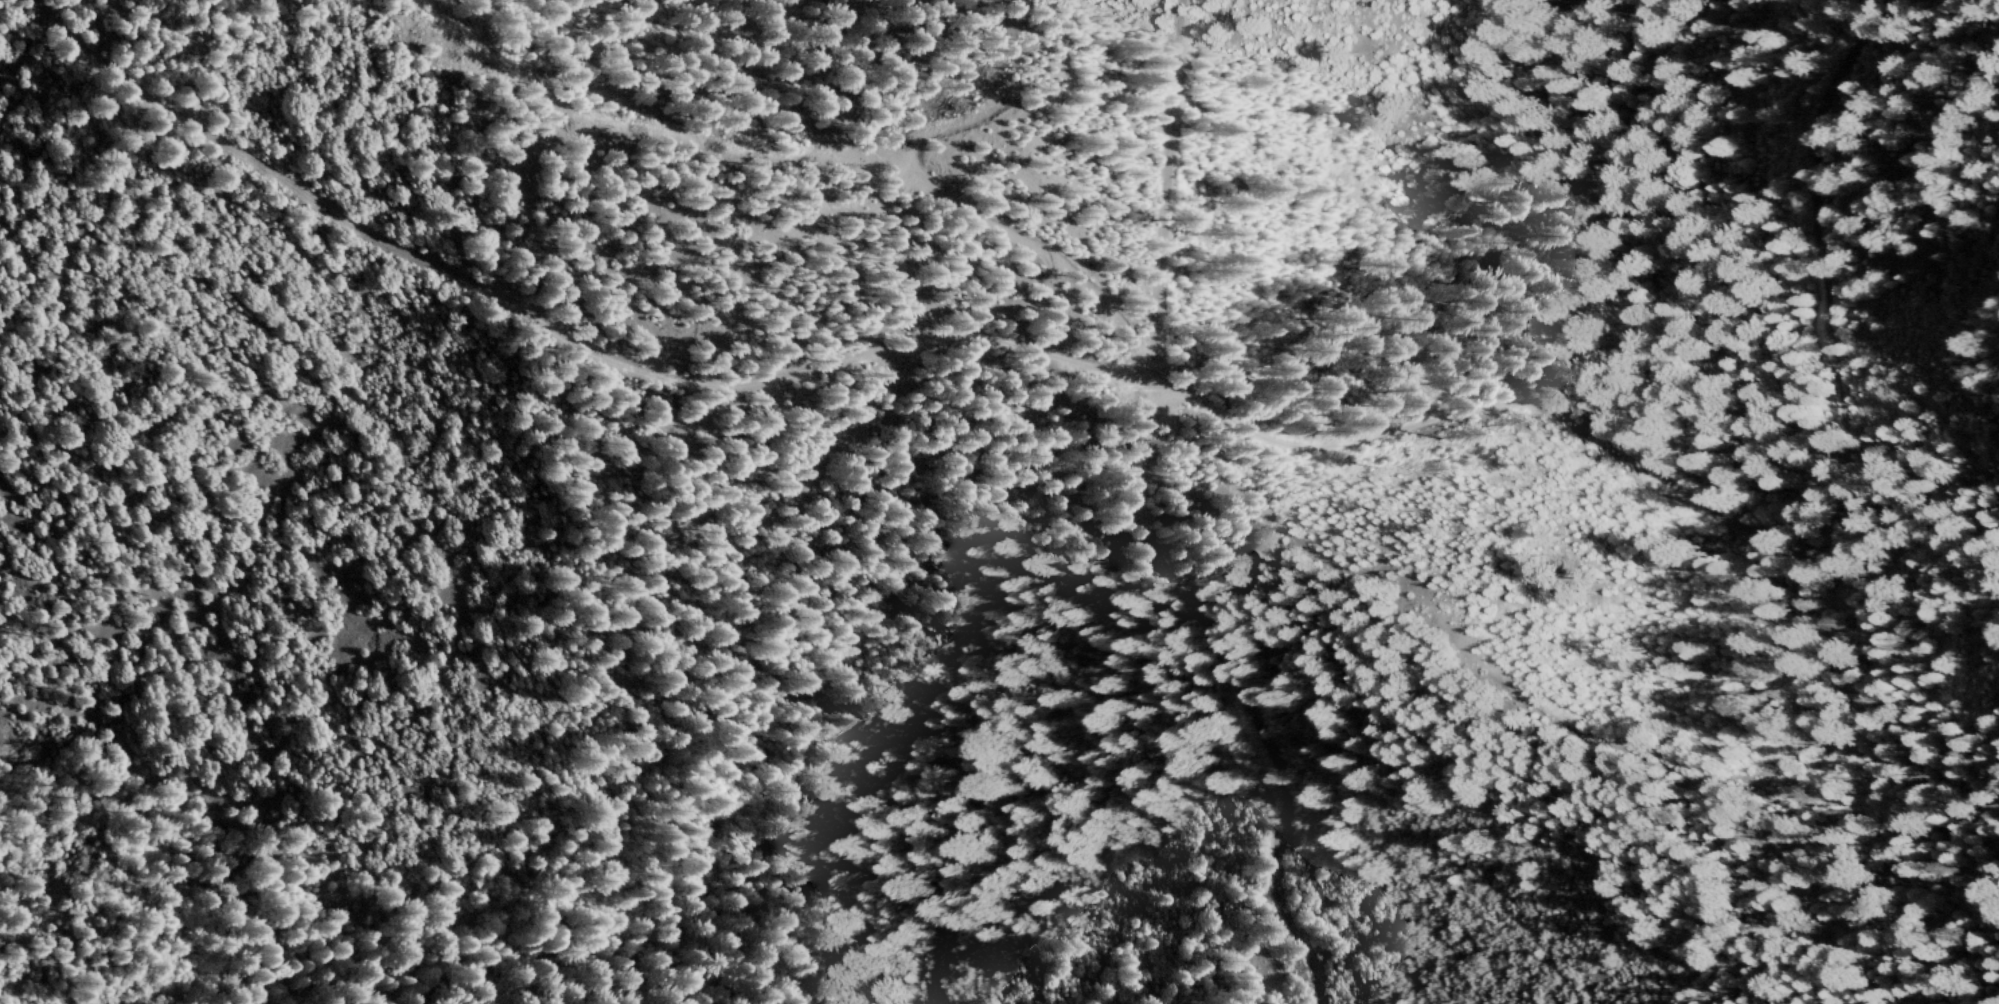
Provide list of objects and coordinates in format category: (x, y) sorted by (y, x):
road: (1152, 353)
road: (1219, 399)

